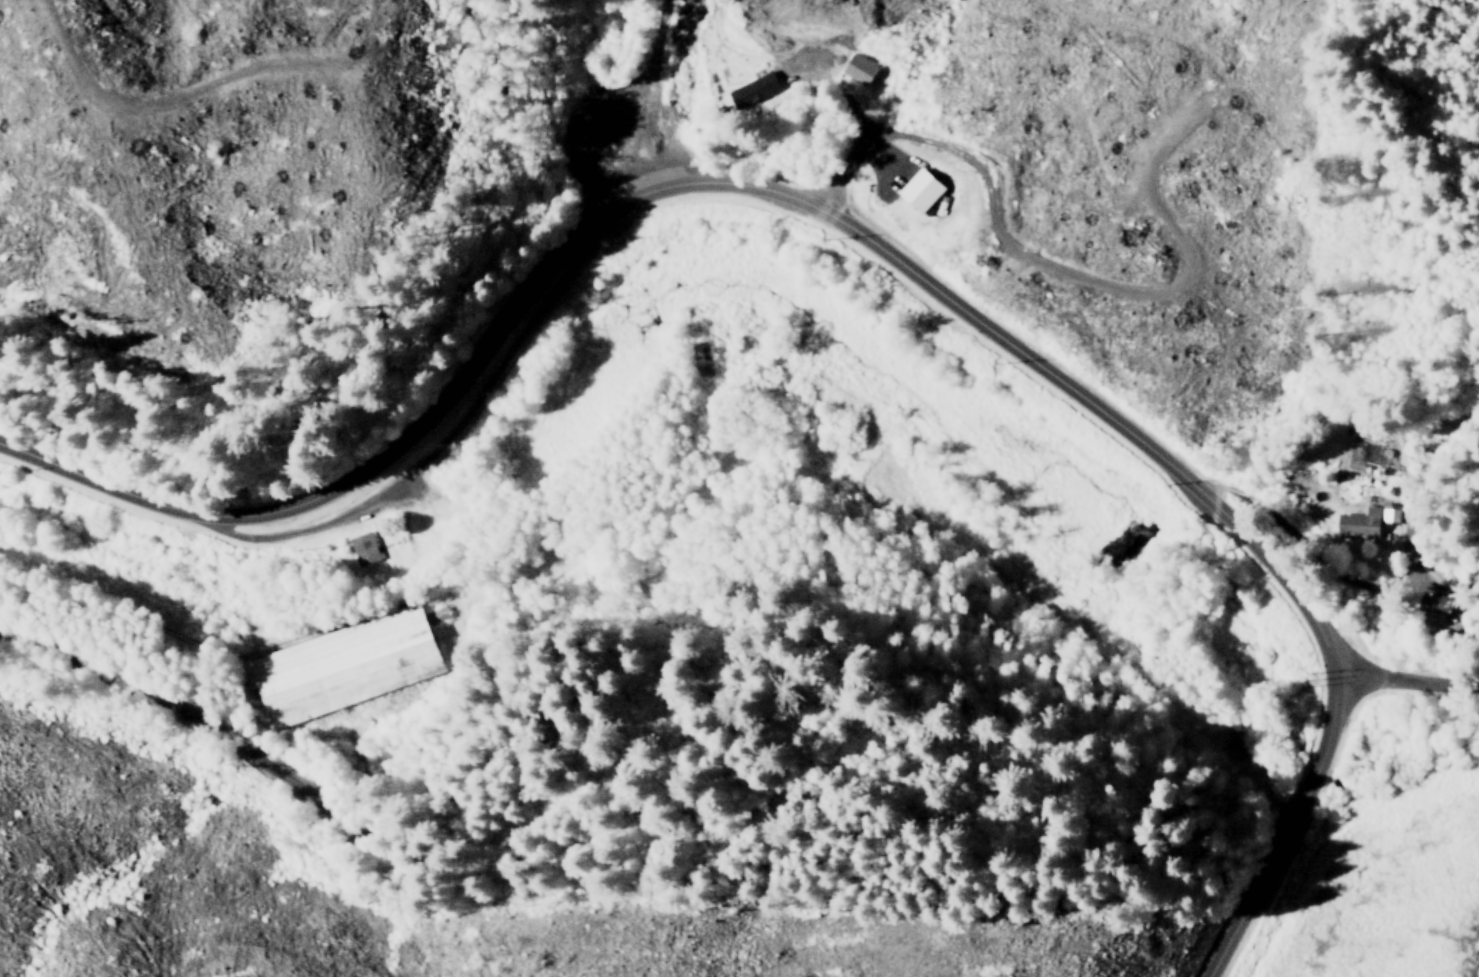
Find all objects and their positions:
building: (855, 67)
building: (751, 87)
road: (695, 178)
building: (915, 189)
building: (1363, 519)
building: (362, 547)
road: (105, 596)
building: (340, 665)
road: (1410, 682)
railway: (266, 764)
road: (1284, 826)

